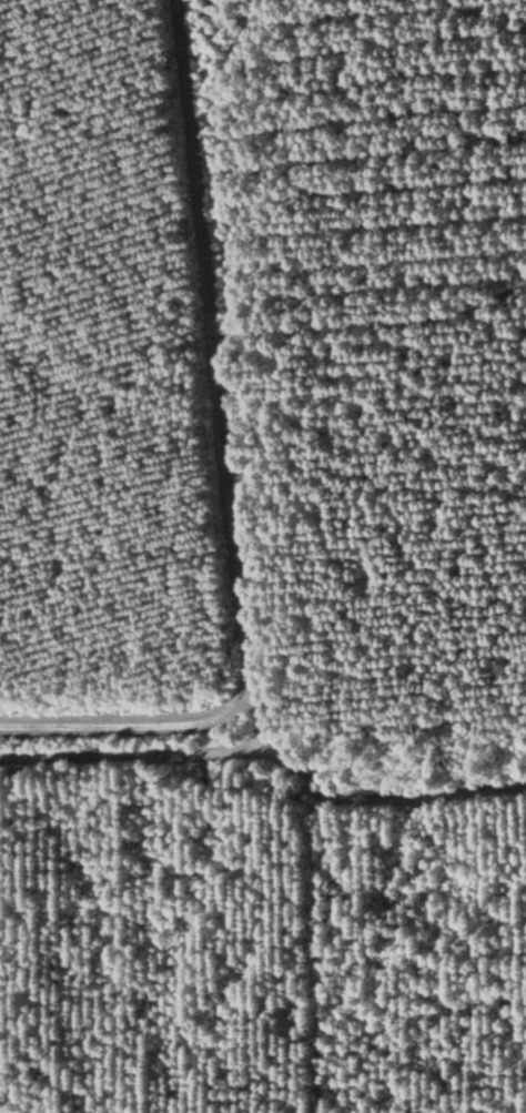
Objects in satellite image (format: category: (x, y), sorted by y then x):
road: (226, 472)

